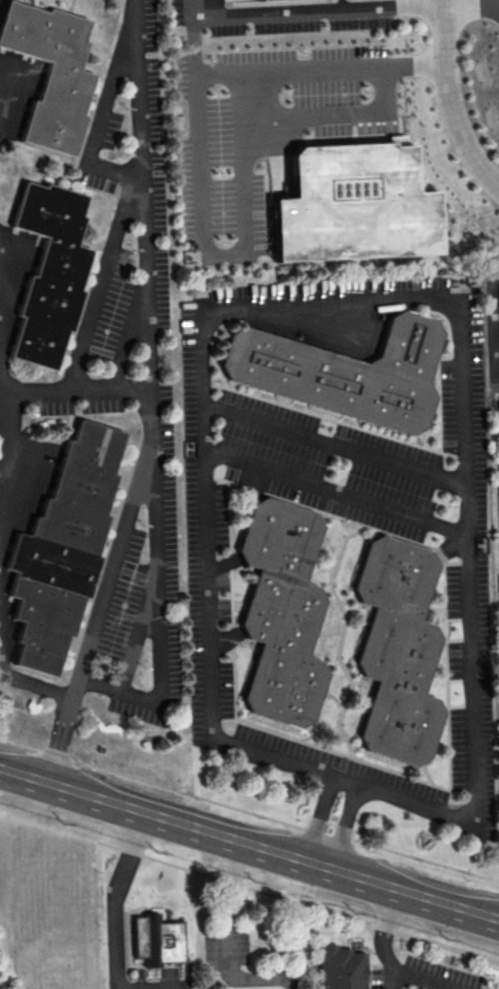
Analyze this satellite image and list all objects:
road: (471, 4)
road: (191, 9)
building: (49, 74)
road: (215, 76)
road: (449, 104)
road: (333, 114)
road: (133, 187)
building: (352, 204)
road: (203, 225)
building: (47, 272)
road: (128, 337)
building: (345, 371)
road: (11, 396)
road: (149, 399)
road: (2, 419)
road: (334, 442)
road: (2, 468)
road: (335, 491)
building: (62, 547)
building: (282, 611)
road: (157, 612)
road: (138, 633)
building: (397, 648)
road: (16, 680)
road: (473, 782)
road: (257, 815)
road: (315, 817)
road: (345, 826)
road: (249, 843)
road: (297, 903)
road: (115, 927)
road: (386, 935)
building: (156, 939)
road: (227, 942)
building: (341, 968)
road: (421, 979)

